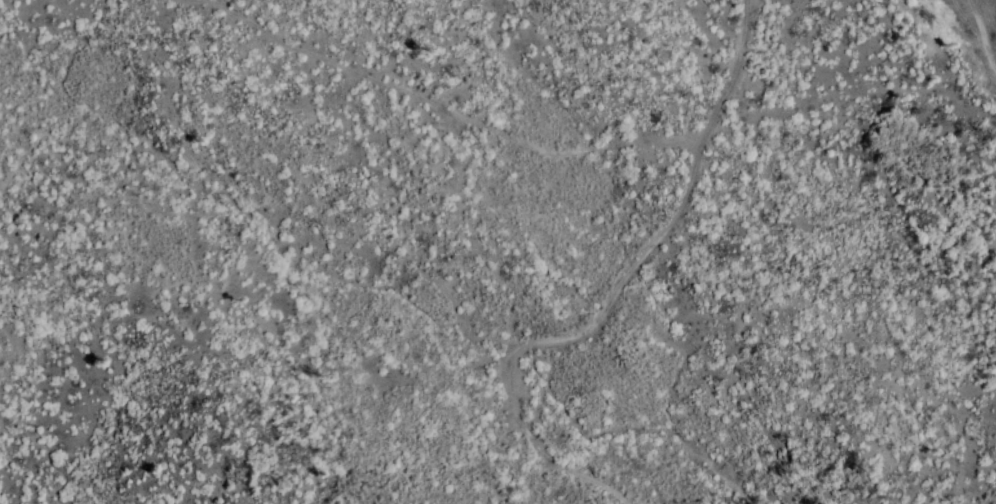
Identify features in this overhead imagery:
road: (619, 297)

